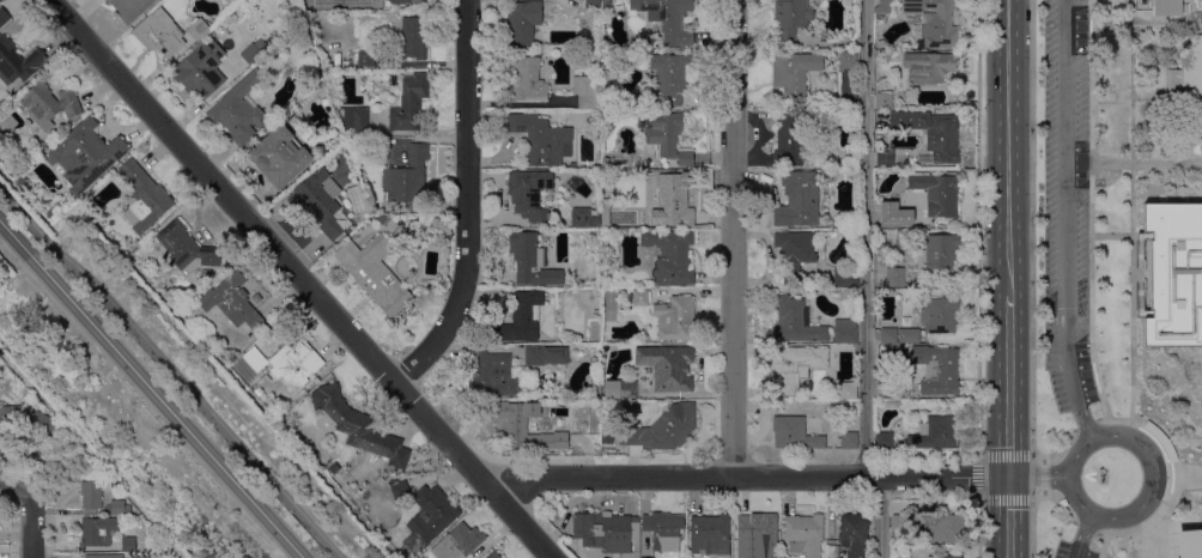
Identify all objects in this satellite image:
building: (407, 1)
building: (591, 4)
building: (1195, 6)
building: (606, 7)
building: (884, 7)
building: (1165, 7)
building: (129, 8)
building: (4, 17)
building: (667, 18)
building: (790, 19)
building: (524, 22)
building: (931, 22)
road: (1146, 25)
building: (198, 30)
building: (159, 34)
building: (413, 37)
building: (880, 44)
building: (913, 46)
building: (254, 53)
building: (364, 57)
building: (848, 61)
building: (17, 62)
building: (929, 67)
building: (200, 69)
building: (794, 74)
building: (668, 77)
building: (527, 80)
building: (1188, 89)
building: (584, 91)
building: (409, 102)
building: (884, 102)
building: (49, 104)
building: (239, 110)
building: (814, 115)
building: (354, 119)
building: (930, 135)
building: (667, 137)
building: (541, 139)
building: (789, 139)
road: (1007, 147)
building: (83, 156)
building: (278, 156)
building: (884, 158)
building: (605, 162)
road: (1134, 163)
building: (406, 176)
building: (529, 193)
building: (936, 193)
building: (144, 198)
building: (797, 199)
building: (672, 200)
road: (467, 201)
building: (320, 204)
parking lot: (1066, 204)
road: (1131, 208)
building: (605, 213)
building: (888, 213)
road: (1066, 217)
road: (1089, 217)
building: (583, 218)
building: (382, 219)
road: (977, 228)
road: (1031, 235)
road: (1110, 236)
road: (731, 238)
road: (867, 238)
building: (186, 247)
building: (937, 251)
building: (794, 253)
building: (670, 255)
building: (530, 261)
building: (375, 274)
building: (917, 275)
building: (845, 277)
building: (894, 277)
building: (1173, 277)
road: (303, 279)
building: (916, 285)
building: (845, 291)
building: (639, 297)
building: (256, 298)
building: (232, 302)
building: (939, 315)
building: (521, 319)
building: (674, 319)
building: (795, 322)
building: (845, 332)
building: (888, 335)
building: (544, 354)
building: (254, 359)
building: (295, 362)
building: (667, 366)
building: (794, 366)
building: (936, 370)
road: (171, 371)
building: (493, 375)
building: (882, 387)
road: (1008, 387)
building: (620, 389)
building: (846, 390)
building: (28, 421)
building: (517, 421)
road: (1085, 424)
building: (360, 427)
building: (662, 429)
road: (1087, 431)
building: (794, 433)
building: (936, 435)
building: (884, 439)
building: (1159, 439)
building: (560, 441)
building: (849, 441)
road: (1061, 448)
building: (333, 468)
road: (1037, 472)
road: (1043, 475)
road: (747, 477)
road: (1189, 477)
traffic signals: (1008, 478)
road: (1176, 478)
road: (978, 479)
road: (1037, 483)
road: (14, 486)
building: (393, 487)
road: (1147, 495)
building: (92, 496)
road: (1061, 503)
building: (119, 508)
building: (429, 517)
road: (880, 517)
road: (1008, 517)
road: (1032, 521)
road: (34, 522)
building: (899, 522)
road: (1085, 526)
building: (943, 527)
road: (1085, 527)
road: (978, 528)
building: (97, 530)
building: (663, 532)
building: (608, 533)
building: (852, 533)
building: (758, 534)
building: (803, 534)
building: (709, 535)
building: (457, 542)
road: (1079, 542)
building: (1188, 542)
building: (128, 545)
road: (1105, 546)
parking lot: (1072, 551)
building: (833, 552)
building: (899, 554)
building: (101, 556)
building: (493, 556)
building: (139, 557)
building: (946, 557)

